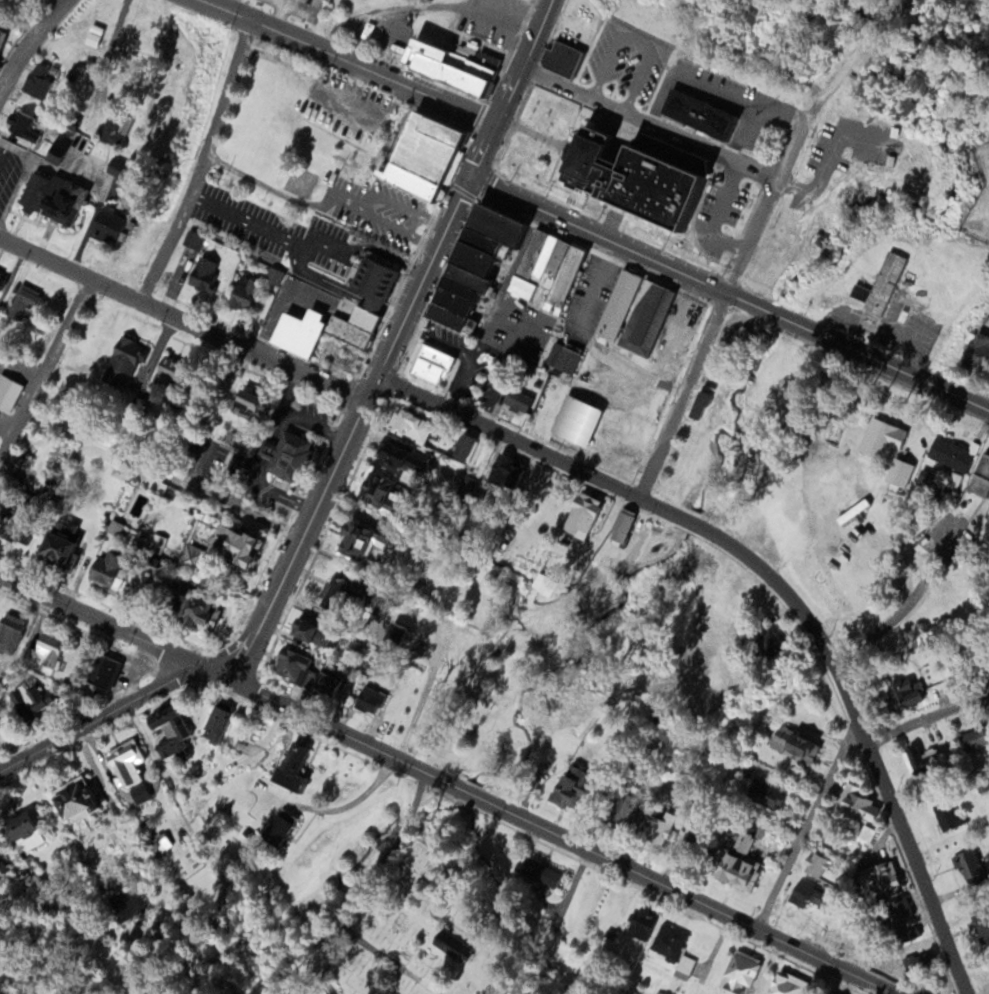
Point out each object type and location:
road: (425, 5)
parking lot: (491, 19)
parking lot: (387, 28)
road: (27, 41)
building: (560, 58)
road: (352, 60)
building: (451, 67)
building: (620, 72)
building: (35, 81)
road: (510, 86)
building: (700, 116)
road: (650, 119)
building: (21, 125)
building: (115, 128)
building: (61, 140)
building: (421, 155)
road: (205, 161)
building: (626, 178)
wastewater plant: (978, 193)
building: (52, 197)
building: (104, 225)
road: (754, 232)
building: (545, 269)
building: (202, 274)
building: (878, 288)
building: (242, 292)
road: (729, 293)
building: (20, 302)
building: (366, 309)
building: (635, 315)
building: (689, 316)
road: (181, 317)
building: (976, 353)
building: (562, 357)
building: (120, 359)
building: (429, 364)
road: (45, 368)
building: (8, 392)
building: (515, 399)
building: (245, 403)
building: (574, 420)
building: (405, 423)
road: (351, 426)
building: (881, 439)
building: (460, 446)
building: (391, 453)
building: (949, 453)
building: (285, 454)
building: (505, 471)
building: (980, 476)
building: (371, 488)
building: (469, 490)
building: (540, 495)
building: (580, 510)
building: (852, 511)
building: (623, 526)
building: (351, 540)
building: (58, 542)
building: (233, 546)
building: (107, 568)
road: (778, 582)
building: (341, 592)
building: (199, 611)
road: (114, 625)
building: (300, 630)
building: (9, 633)
building: (394, 636)
building: (765, 645)
building: (44, 651)
building: (951, 659)
building: (289, 665)
building: (101, 671)
building: (325, 681)
building: (900, 695)
building: (25, 697)
building: (367, 699)
road: (109, 710)
road: (928, 718)
building: (215, 724)
building: (164, 731)
building: (974, 738)
building: (793, 744)
building: (917, 757)
building: (291, 763)
building: (123, 764)
building: (566, 790)
building: (765, 794)
building: (69, 799)
building: (621, 809)
building: (857, 810)
building: (946, 814)
building: (21, 824)
road: (807, 825)
building: (274, 829)
building: (654, 835)
road: (563, 837)
building: (736, 858)
building: (814, 864)
building: (966, 864)
building: (536, 870)
building: (878, 878)
building: (800, 893)
building: (898, 908)
building: (982, 922)
building: (640, 924)
building: (448, 941)
building: (667, 941)
building: (683, 966)
building: (739, 971)
building: (785, 983)

